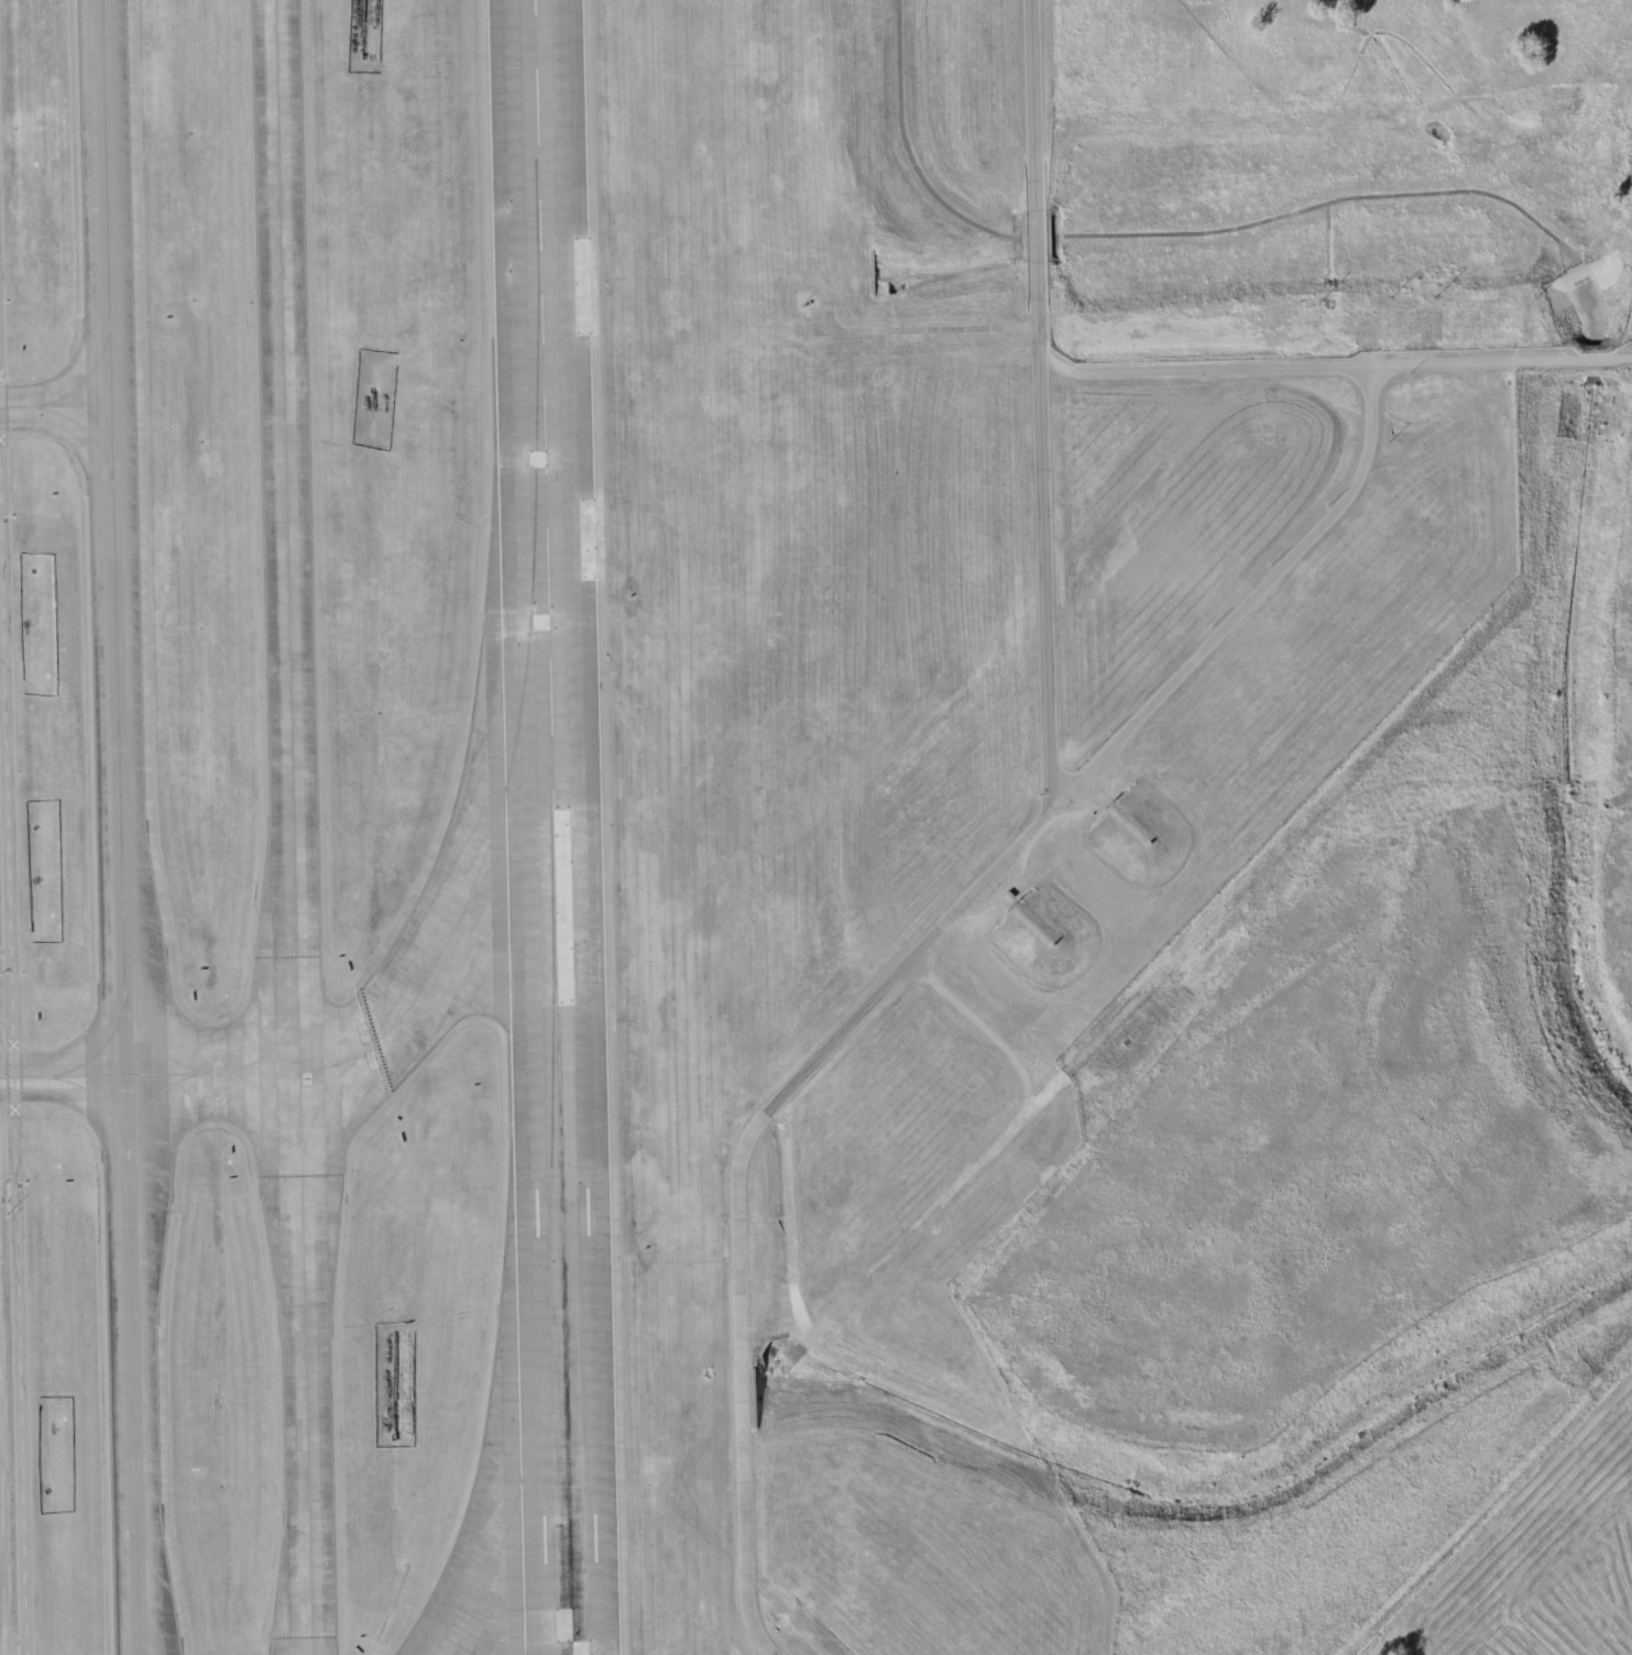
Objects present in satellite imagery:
road: (1501, 362)
road: (1203, 369)
airport taxiway: (85, 377)
road: (1038, 398)
airport taxiway: (72, 420)
airport taxiway: (119, 826)
airport taxiway: (492, 826)
airport runway: (551, 826)
airport taxiway: (292, 827)
airport: (815, 827)
road: (910, 956)
airport taxiway: (274, 1043)
airport taxiway: (154, 1046)
airport taxiway: (98, 1049)
road: (10, 1090)
airport taxiway: (272, 1095)
airport taxiway: (321, 1097)
airport taxiway: (99, 1100)
airport taxiway: (149, 1101)
road: (994, 1151)
airport taxiway: (546, 1279)
road: (1487, 1505)

